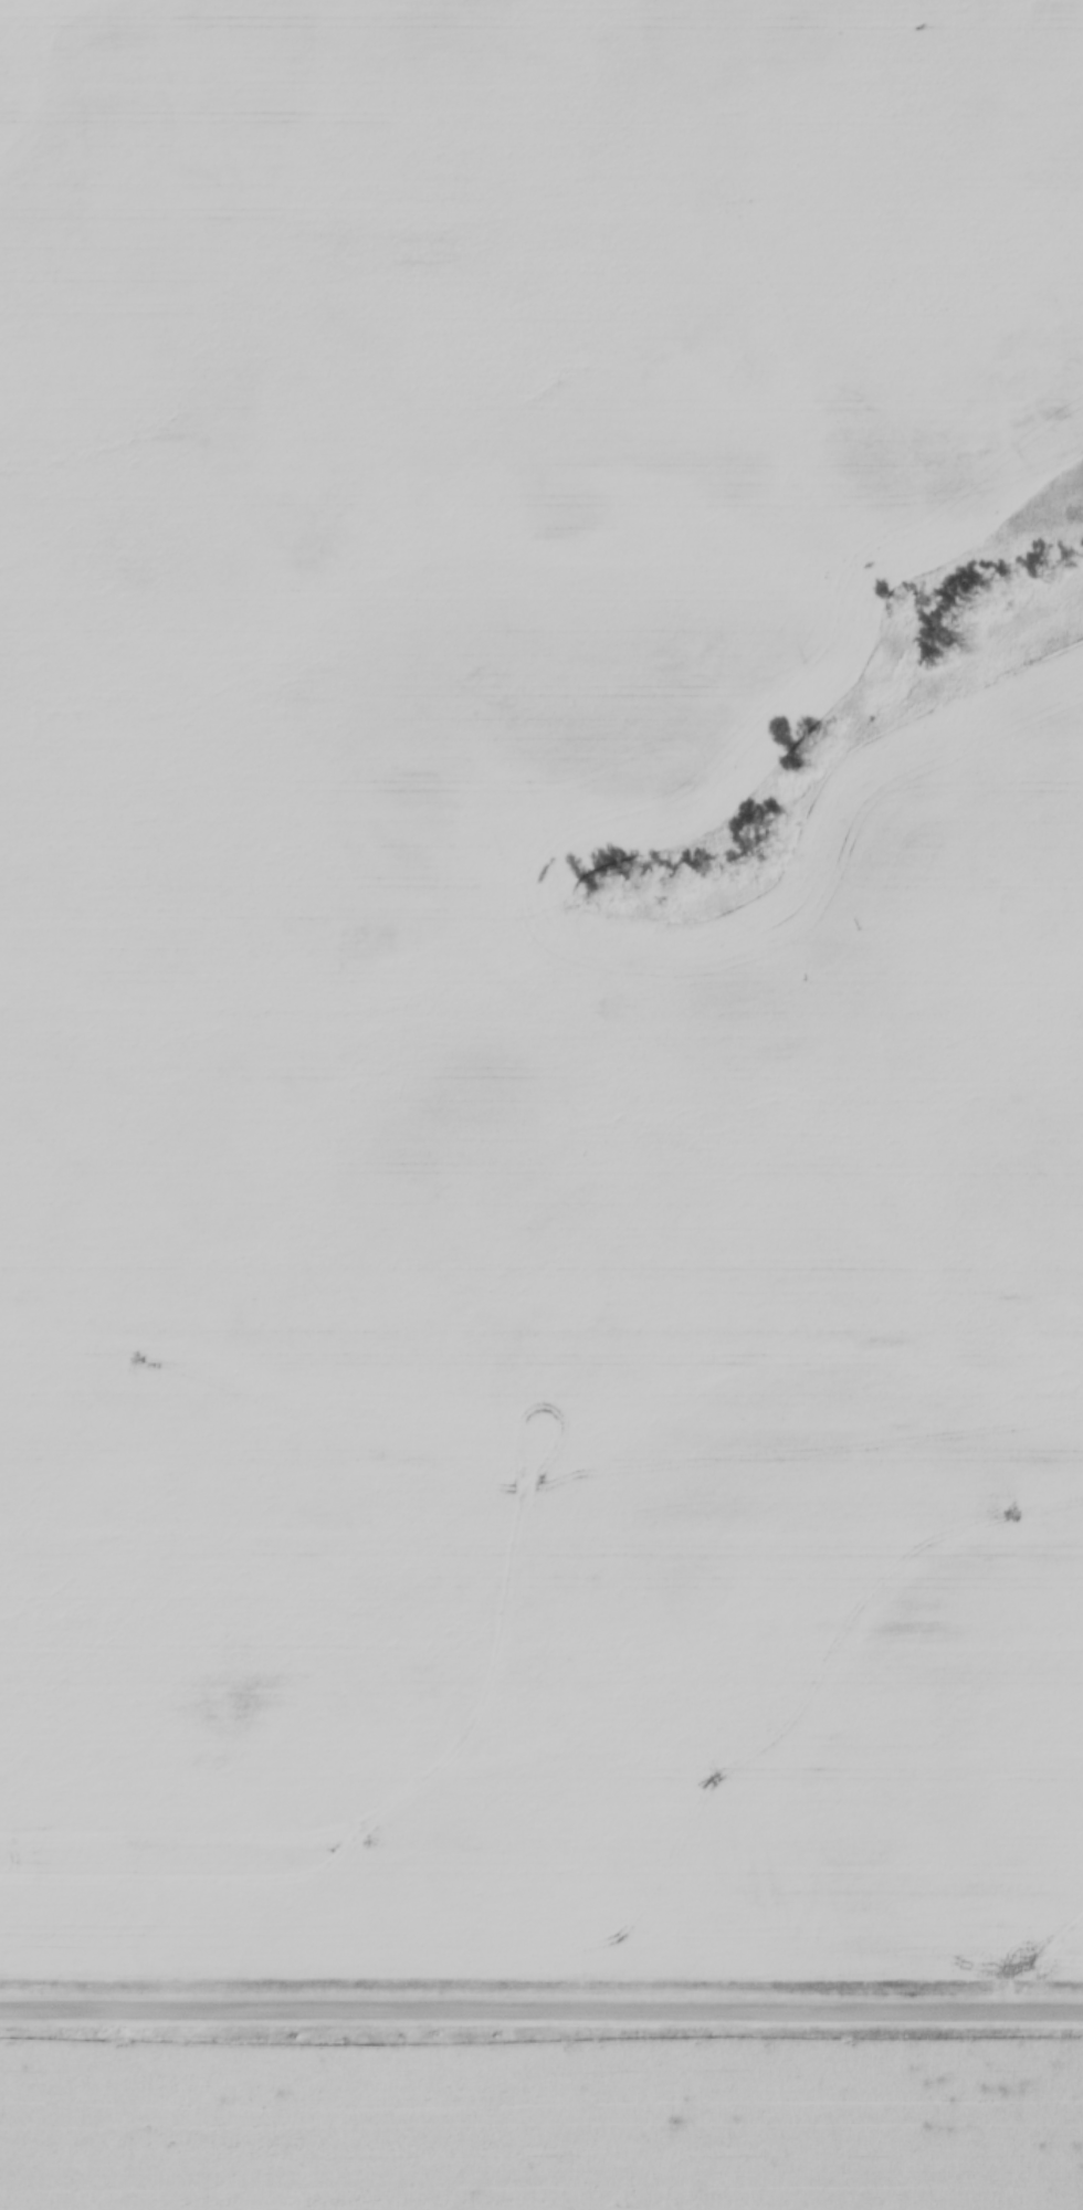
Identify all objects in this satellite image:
road: (541, 2004)

